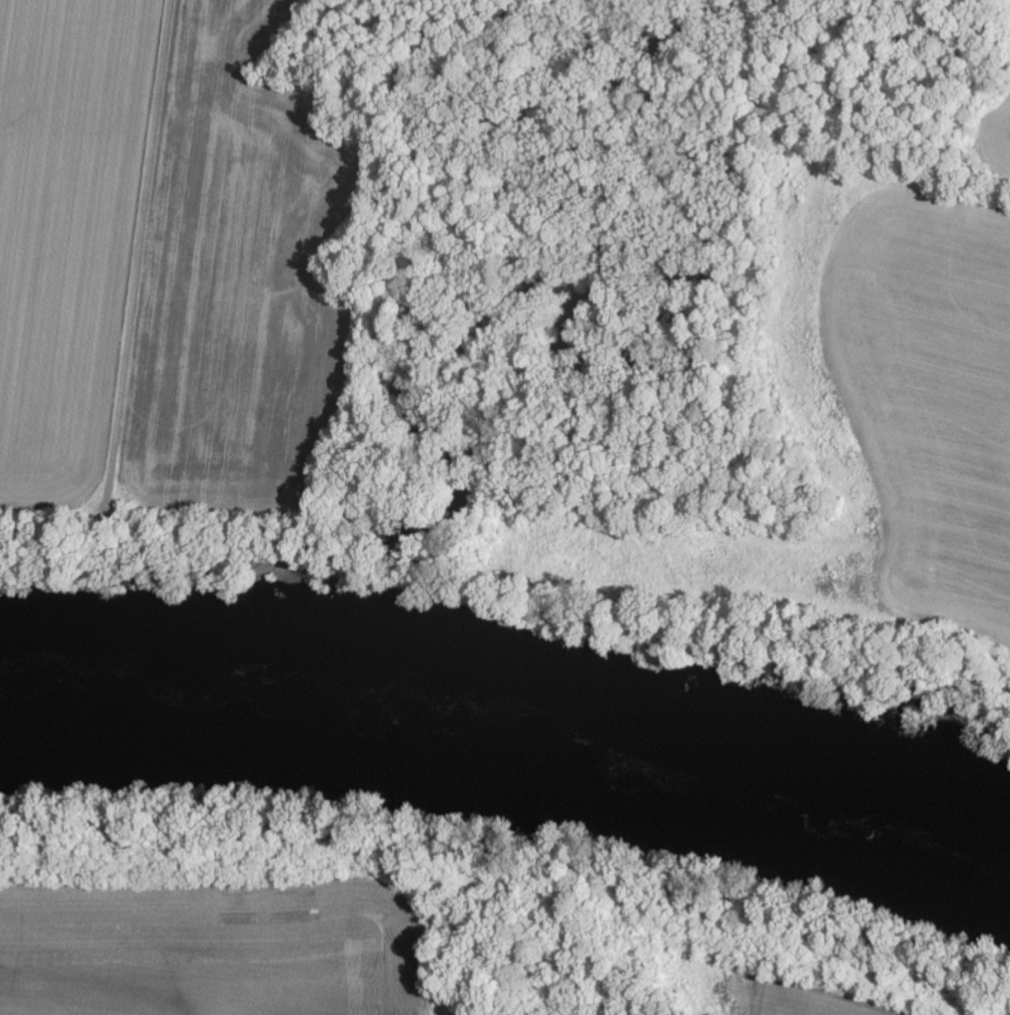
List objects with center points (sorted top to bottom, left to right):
road: (140, 253)
river: (514, 721)

